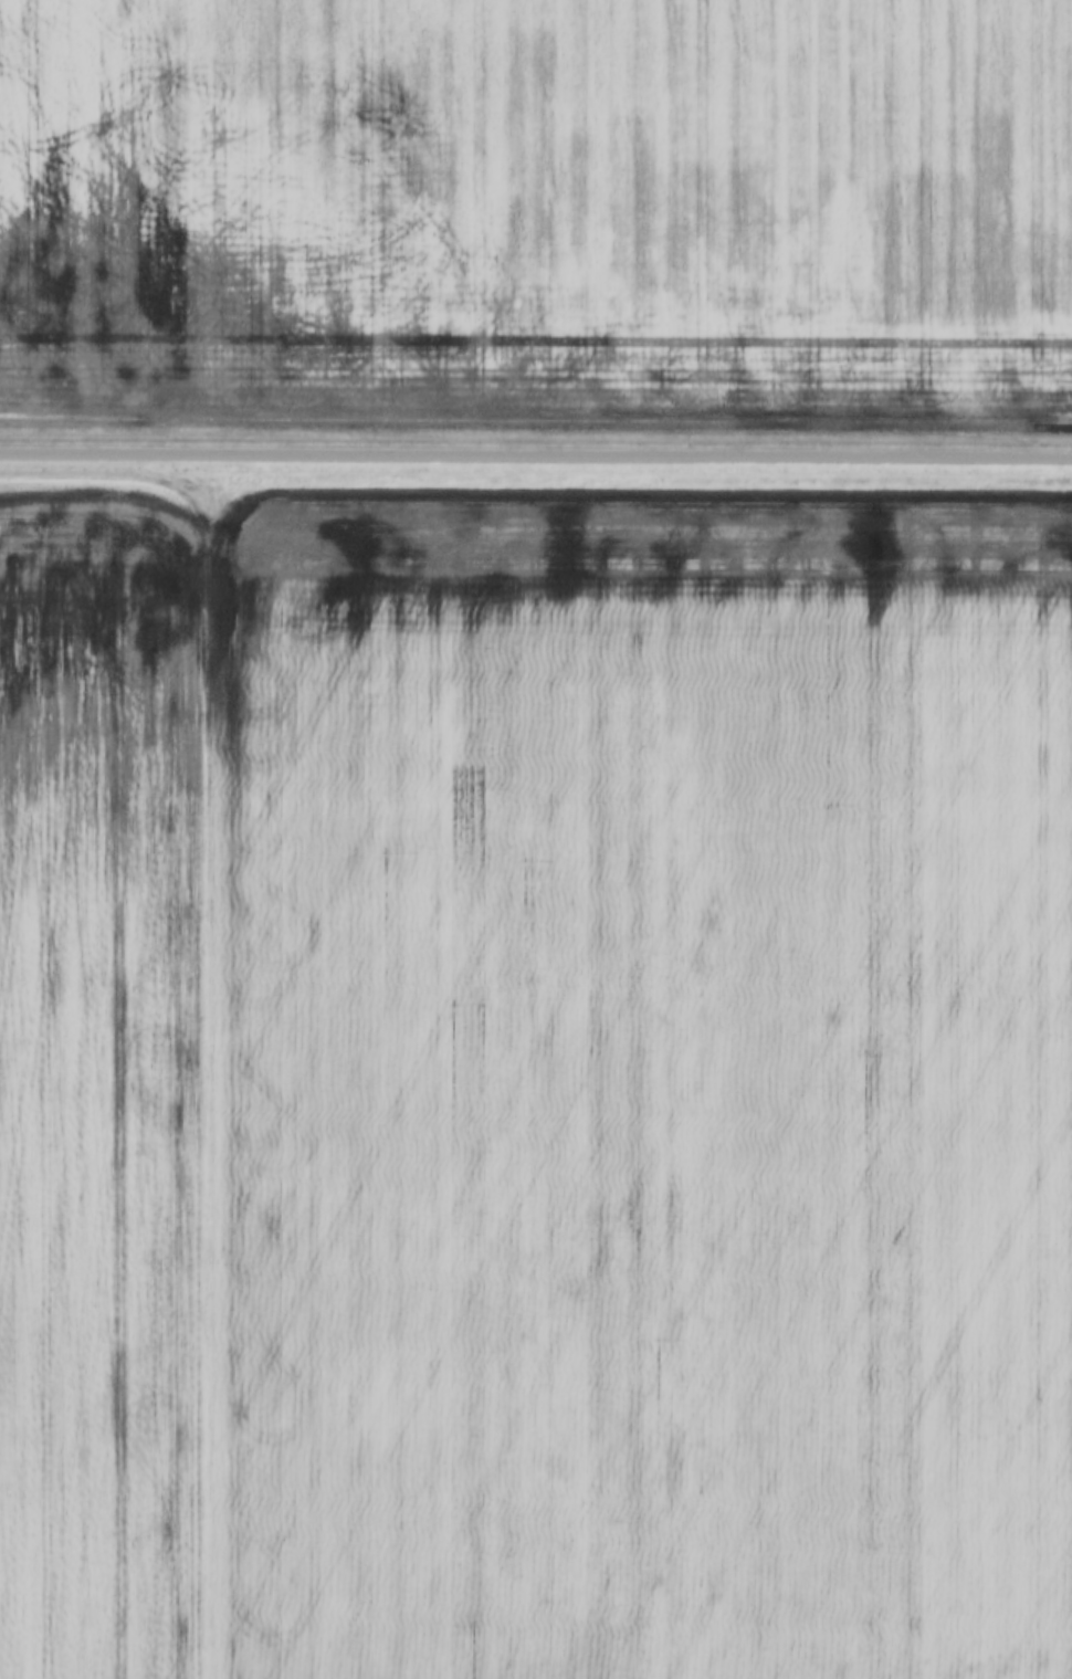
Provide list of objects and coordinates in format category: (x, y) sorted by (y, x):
road: (536, 452)

